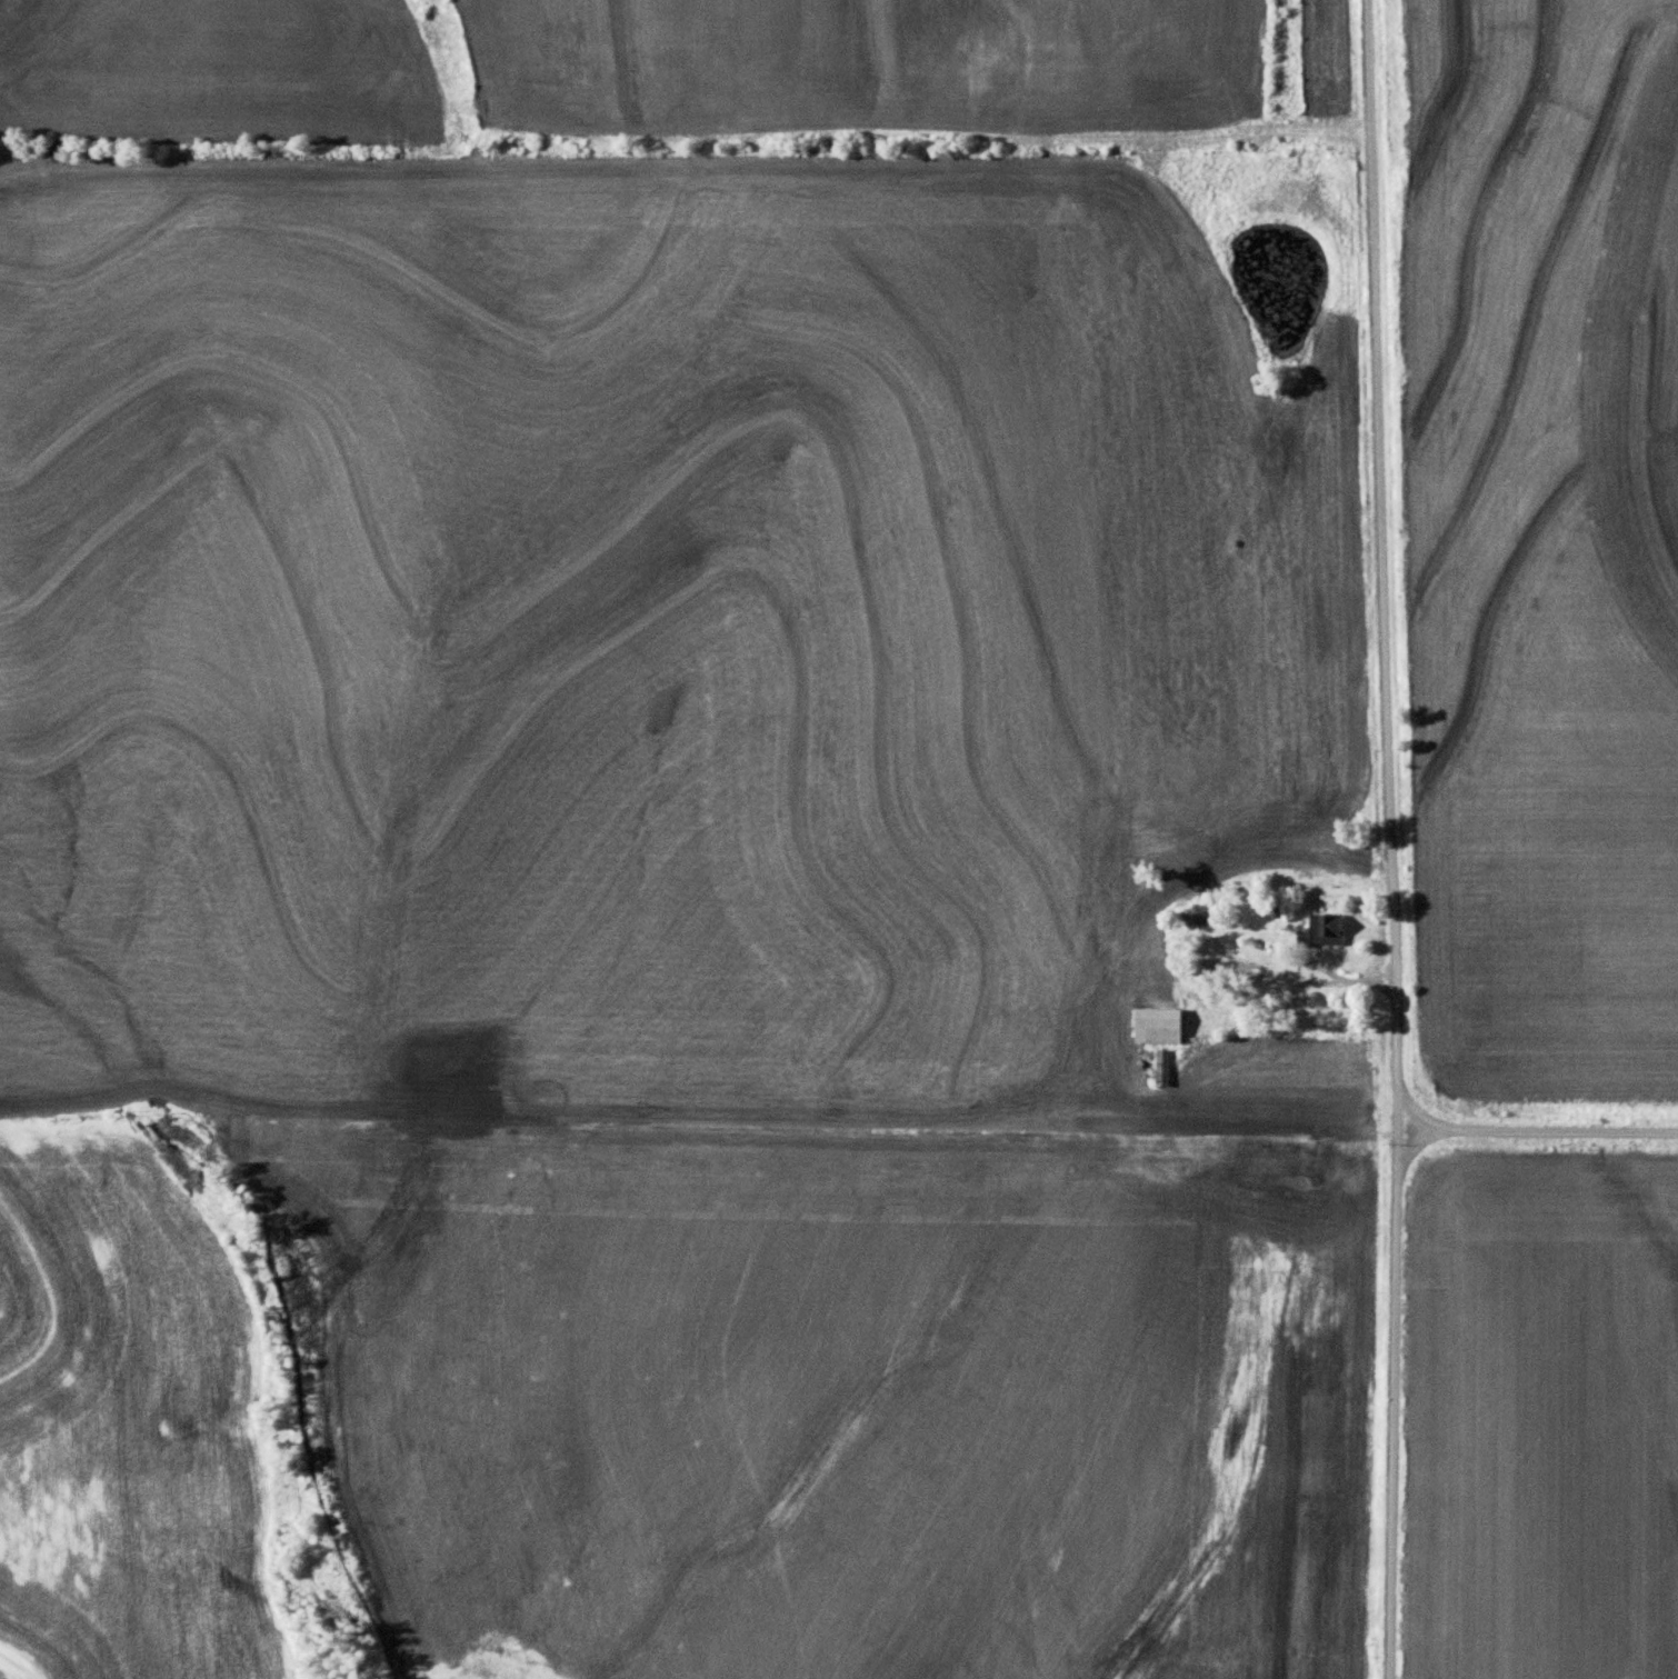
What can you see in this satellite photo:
road: (1390, 839)
building: (1292, 868)
building: (1192, 915)
building: (1322, 926)
road: (1304, 960)
road: (1368, 982)
building: (1153, 1022)
building: (1159, 1065)
road: (1536, 1131)

